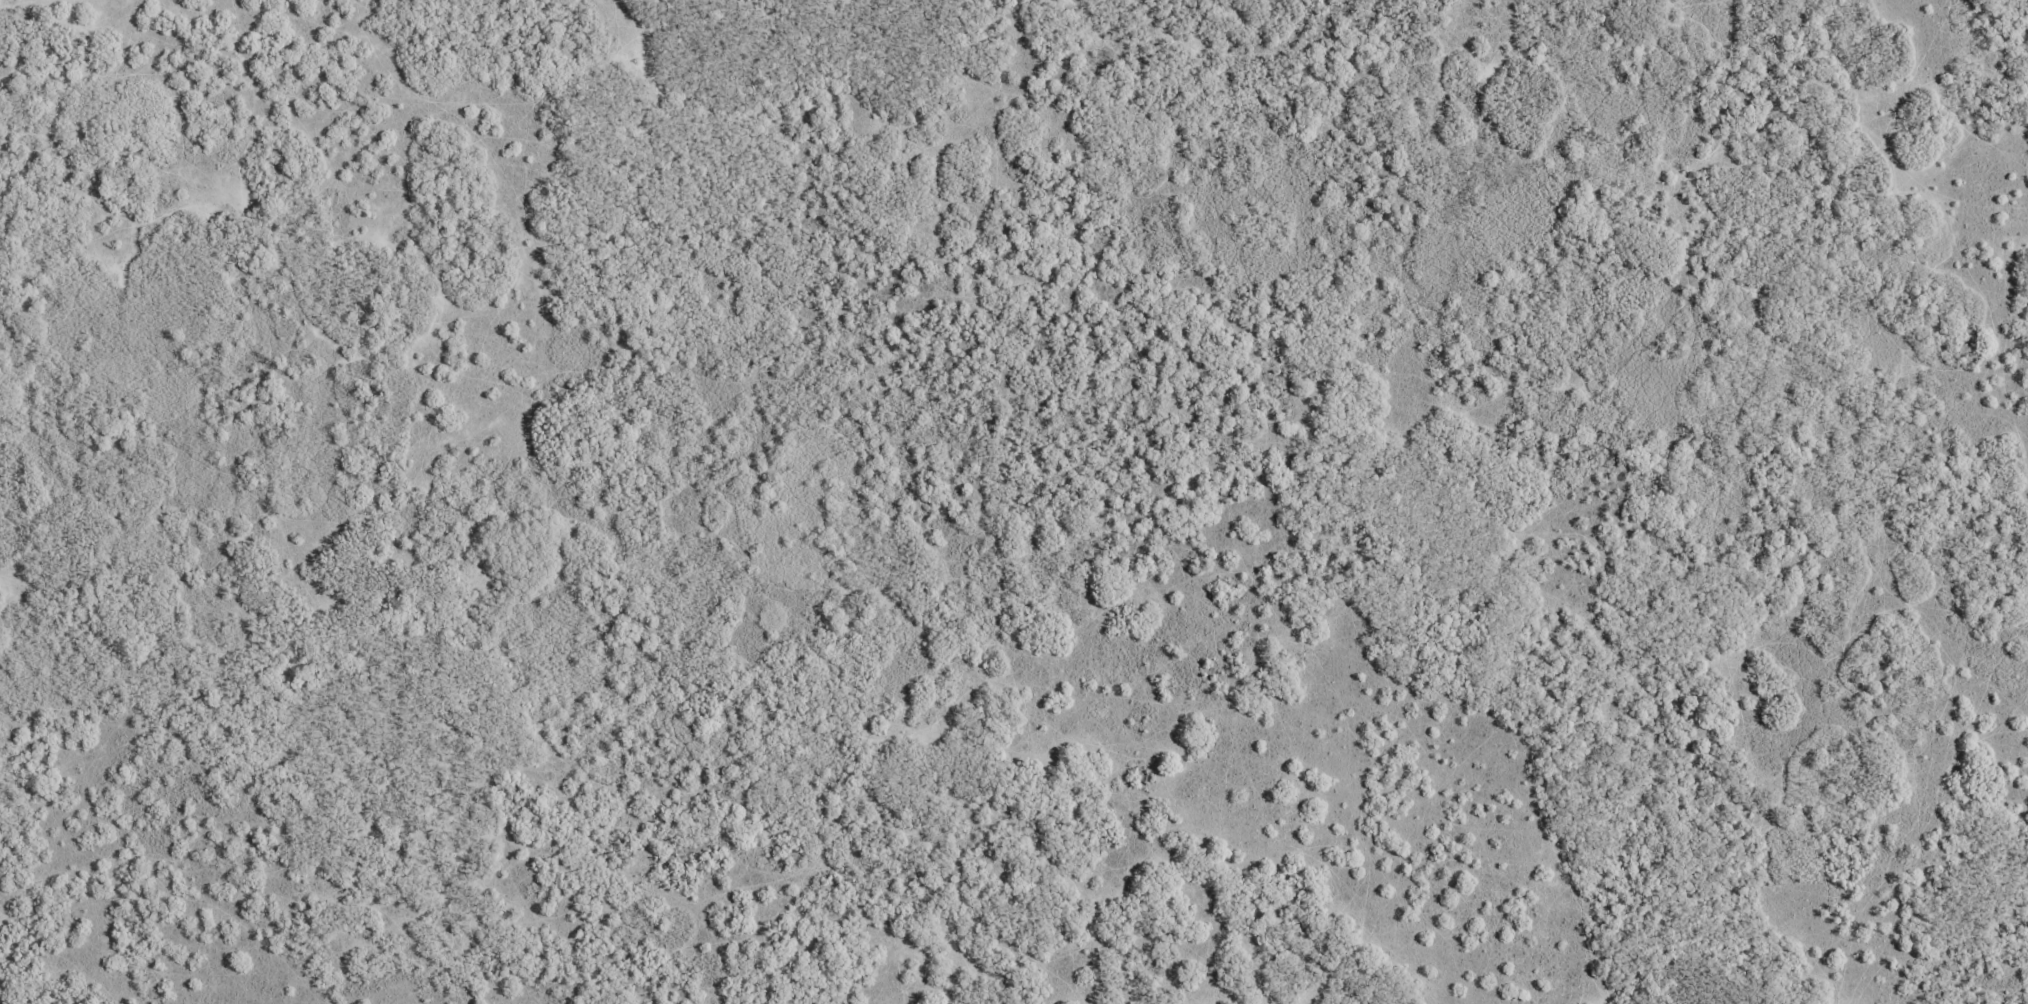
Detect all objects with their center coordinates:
road: (1962, 194)

